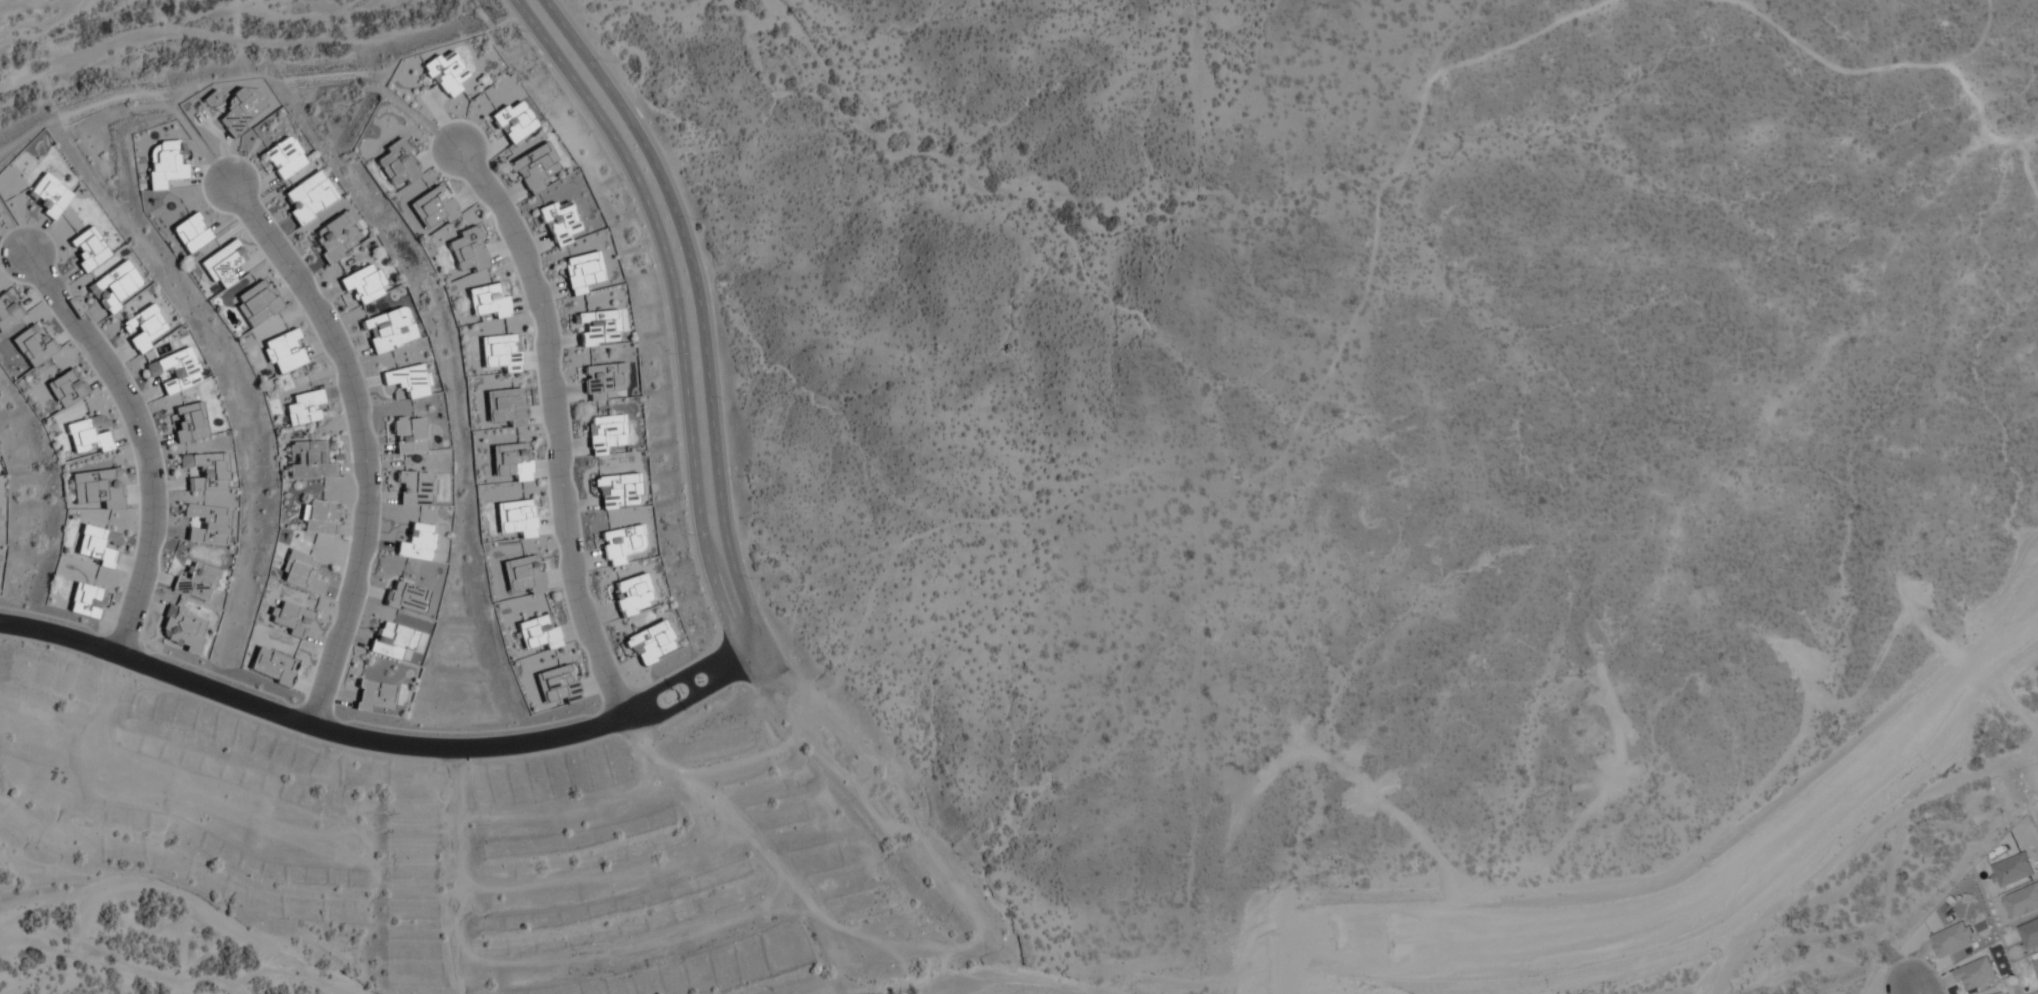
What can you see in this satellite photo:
building: (445, 73)
building: (210, 98)
building: (241, 109)
building: (513, 120)
building: (283, 157)
building: (164, 163)
building: (397, 163)
building: (533, 167)
building: (48, 195)
building: (308, 197)
building: (433, 206)
building: (559, 221)
building: (190, 232)
building: (335, 236)
building: (87, 249)
building: (467, 250)
building: (222, 263)
building: (581, 271)
building: (364, 283)
building: (114, 285)
building: (487, 300)
building: (256, 302)
road: (703, 303)
road: (677, 308)
building: (8, 309)
building: (144, 327)
building: (598, 327)
building: (388, 329)
building: (33, 344)
building: (283, 351)
building: (500, 351)
building: (175, 369)
building: (409, 379)
building: (602, 380)
building: (66, 387)
building: (505, 406)
building: (304, 407)
building: (189, 422)
road: (557, 428)
building: (604, 433)
building: (88, 434)
building: (411, 435)
road: (145, 440)
road: (363, 441)
building: (309, 459)
building: (510, 460)
building: (206, 471)
building: (97, 487)
building: (415, 487)
building: (617, 490)
building: (318, 516)
building: (516, 517)
building: (207, 524)
building: (416, 542)
building: (620, 543)
building: (98, 545)
building: (300, 571)
building: (524, 573)
building: (195, 582)
building: (632, 594)
building: (405, 596)
building: (85, 600)
building: (290, 618)
building: (182, 628)
building: (538, 632)
building: (391, 639)
building: (649, 643)
road: (743, 652)
building: (271, 666)
road: (675, 679)
building: (556, 684)
building: (372, 694)
road: (686, 701)
road: (630, 714)
road: (308, 722)
building: (2012, 868)
building: (2022, 900)
building: (2029, 932)
building: (1952, 938)
building: (2036, 964)
street lamp: (1937, 972)
building: (1976, 973)
road: (1920, 989)
building: (2000, 992)

